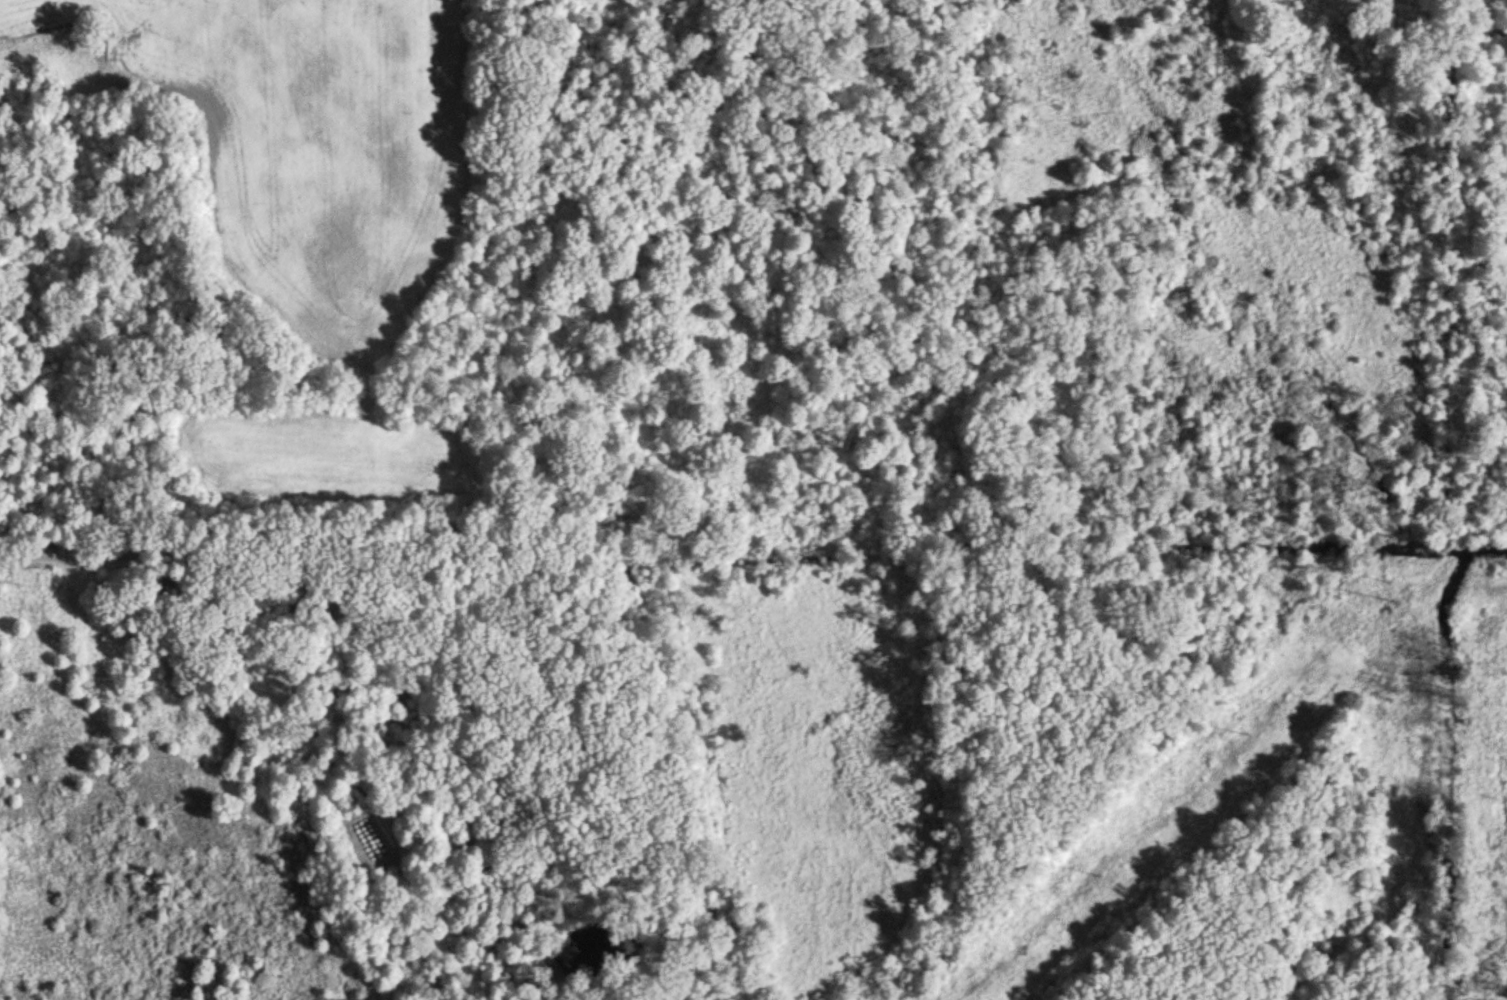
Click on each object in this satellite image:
road: (96, 561)
building: (168, 590)
building: (371, 844)

